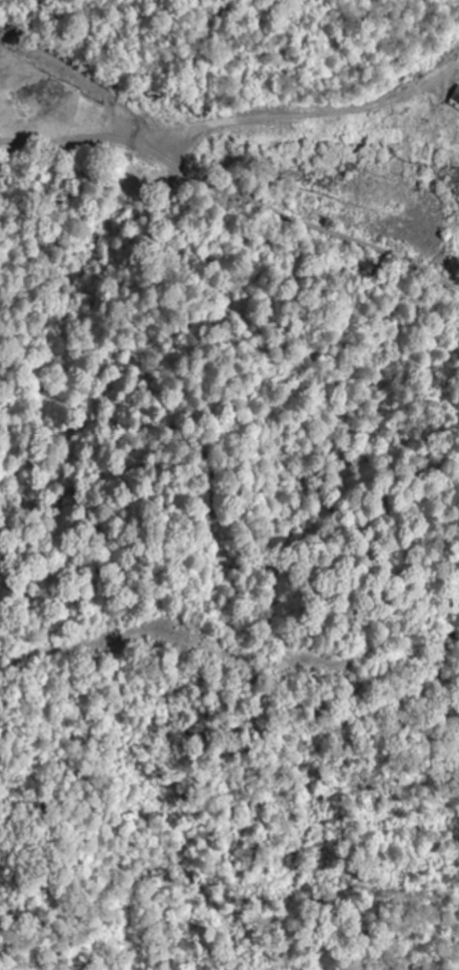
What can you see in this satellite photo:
building: (456, 98)
road: (301, 223)

